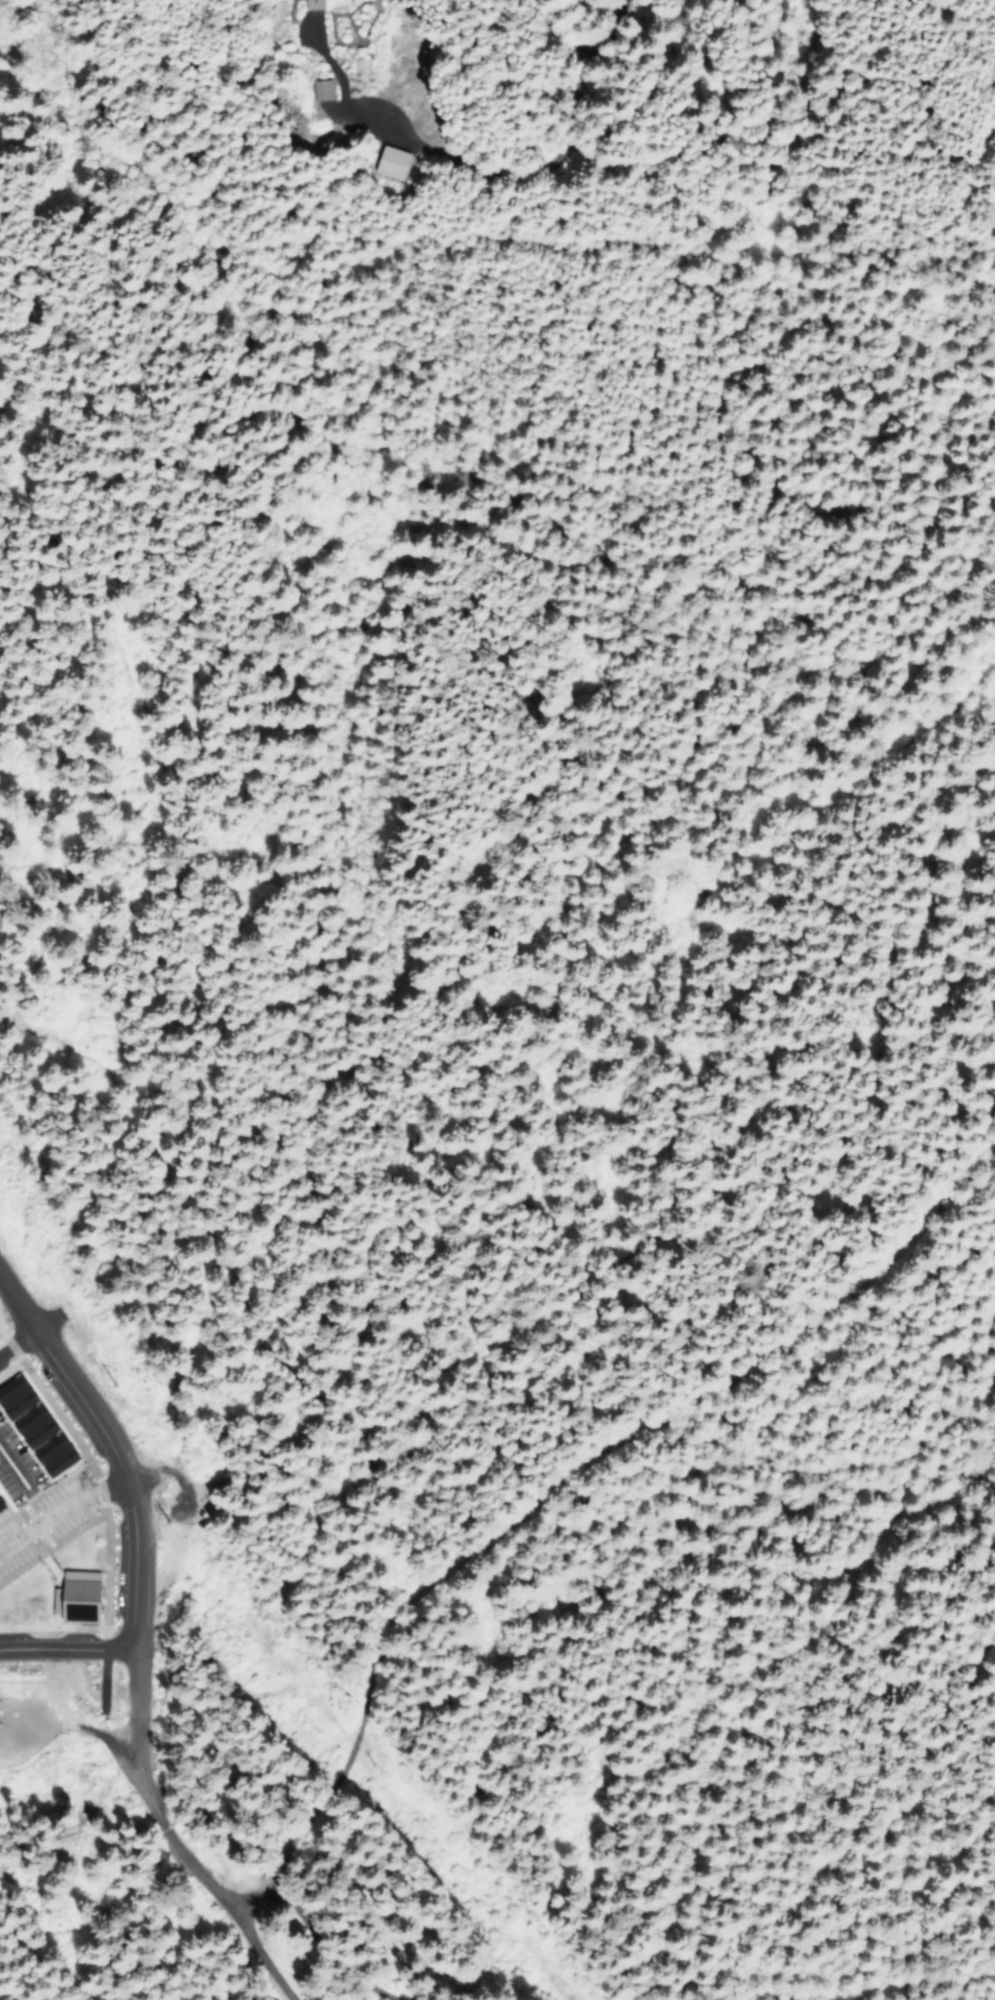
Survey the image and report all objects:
building: (308, 4)
building: (317, 88)
building: (388, 162)
road: (641, 178)
road: (39, 628)
road: (840, 1203)
road: (217, 1256)
road: (22, 1339)
road: (5, 1350)
road: (180, 1366)
power tower: (113, 1384)
building: (30, 1429)
road: (110, 1451)
road: (168, 1470)
road: (12, 1471)
road: (549, 1486)
road: (102, 1487)
road: (104, 1516)
power tower: (166, 1520)
parking lot: (39, 1521)
road: (39, 1521)
building: (76, 1596)
road: (68, 1649)
road: (135, 1741)
road: (226, 1760)
power tower: (373, 1760)
park: (333, 1805)
road: (230, 1915)
road: (241, 1949)
road: (333, 1951)

